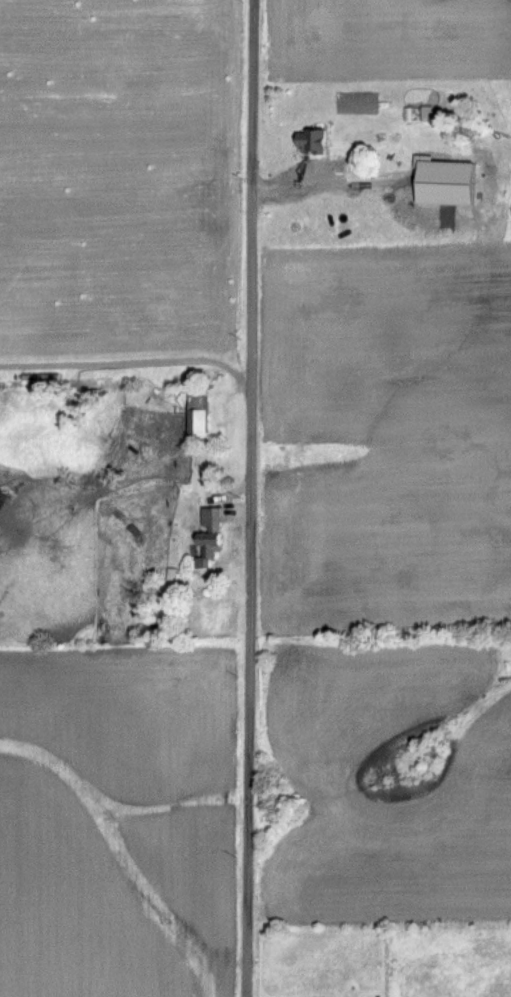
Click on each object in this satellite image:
building: (417, 113)
building: (309, 141)
building: (443, 204)
building: (196, 411)
road: (247, 498)
building: (208, 537)

